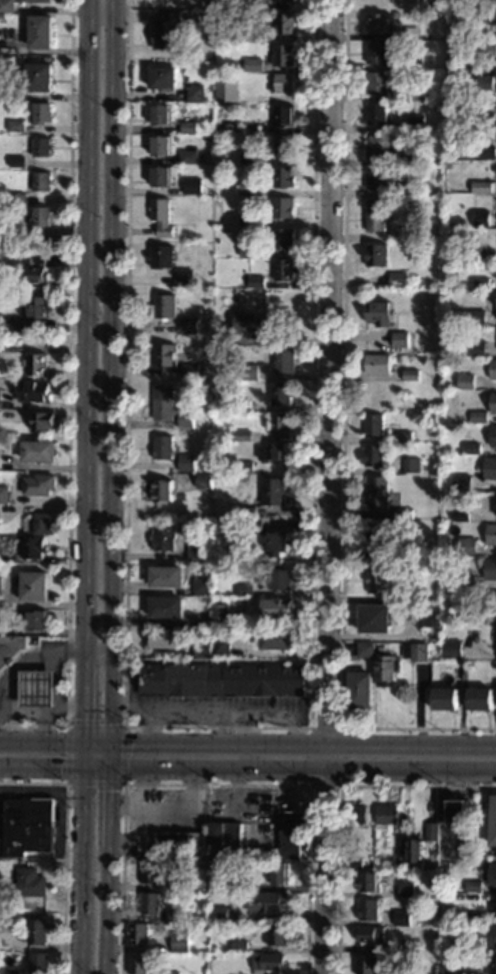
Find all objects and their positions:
building: (285, 0)
building: (35, 1)
building: (251, 5)
building: (6, 6)
building: (394, 13)
building: (481, 13)
building: (284, 23)
building: (379, 24)
building: (167, 31)
building: (40, 32)
building: (256, 36)
building: (243, 37)
building: (488, 50)
building: (378, 52)
building: (282, 55)
building: (221, 56)
building: (414, 64)
building: (253, 65)
building: (495, 69)
building: (38, 78)
building: (163, 78)
building: (376, 83)
building: (485, 83)
building: (282, 84)
building: (1, 89)
building: (226, 91)
building: (420, 92)
building: (194, 93)
building: (41, 113)
building: (375, 113)
building: (160, 115)
building: (283, 115)
building: (485, 118)
building: (416, 123)
building: (15, 126)
building: (187, 127)
building: (160, 145)
building: (376, 145)
building: (283, 146)
building: (41, 147)
building: (488, 153)
building: (416, 156)
building: (187, 157)
building: (247, 157)
building: (16, 162)
building: (159, 176)
building: (283, 176)
building: (375, 178)
building: (41, 182)
building: (192, 187)
building: (483, 187)
building: (246, 188)
building: (405, 190)
building: (17, 198)
building: (283, 208)
building: (375, 215)
building: (40, 217)
building: (160, 217)
building: (480, 219)
building: (247, 220)
building: (466, 222)
building: (16, 232)
building: (3, 233)
building: (399, 235)
building: (282, 238)
building: (472, 249)
building: (247, 251)
building: (376, 254)
building: (160, 256)
building: (7, 257)
building: (492, 268)
building: (35, 269)
building: (281, 269)
building: (183, 277)
building: (397, 279)
building: (252, 282)
building: (481, 283)
building: (38, 307)
building: (162, 307)
building: (378, 313)
building: (476, 318)
building: (246, 324)
building: (188, 325)
road: (82, 329)
building: (221, 336)
building: (399, 339)
building: (476, 348)
building: (164, 355)
building: (284, 360)
building: (378, 364)
building: (37, 365)
building: (493, 369)
building: (191, 372)
building: (250, 373)
building: (410, 375)
road: (108, 382)
building: (465, 382)
building: (33, 392)
building: (280, 394)
building: (0, 395)
road: (68, 396)
building: (163, 402)
building: (493, 402)
building: (240, 405)
building: (478, 417)
building: (185, 419)
building: (41, 421)
building: (279, 424)
building: (373, 424)
building: (241, 436)
building: (403, 437)
building: (493, 437)
road: (343, 441)
building: (400, 445)
building: (161, 447)
building: (471, 448)
building: (38, 451)
building: (271, 451)
building: (372, 455)
building: (185, 463)
building: (231, 464)
building: (411, 465)
building: (244, 466)
building: (489, 468)
building: (215, 477)
building: (203, 481)
building: (461, 482)
building: (38, 485)
road: (329, 487)
building: (161, 490)
building: (272, 492)
building: (376, 492)
building: (3, 494)
building: (494, 504)
building: (247, 512)
building: (404, 514)
building: (460, 516)
building: (42, 524)
building: (252, 527)
building: (491, 534)
building: (161, 537)
building: (379, 539)
building: (277, 543)
building: (466, 546)
building: (33, 547)
building: (195, 552)
building: (490, 569)
building: (414, 575)
building: (165, 577)
building: (281, 579)
building: (378, 580)
building: (466, 582)
building: (33, 586)
building: (201, 587)
building: (243, 590)
building: (0, 592)
building: (492, 602)
building: (165, 607)
building: (277, 608)
building: (219, 615)
building: (431, 615)
building: (469, 617)
building: (374, 619)
building: (37, 620)
building: (202, 630)
building: (493, 635)
building: (170, 638)
building: (276, 639)
building: (220, 647)
road: (95, 648)
building: (380, 648)
building: (202, 649)
building: (365, 649)
building: (451, 649)
building: (11, 650)
building: (419, 652)
road: (32, 659)
building: (387, 671)
building: (220, 680)
building: (494, 681)
building: (35, 688)
building: (360, 689)
road: (56, 699)
building: (444, 699)
building: (479, 699)
road: (42, 711)
road: (214, 711)
road: (84, 712)
traffic signals: (84, 719)
road: (146, 727)
road: (217, 727)
traffic signals: (130, 745)
road: (247, 745)
road: (41, 764)
traffic signals: (59, 765)
road: (95, 765)
road: (300, 766)
road: (121, 784)
road: (215, 785)
road: (340, 785)
traffic signals: (107, 790)
road: (339, 802)
road: (107, 803)
building: (457, 813)
building: (356, 814)
building: (387, 814)
building: (493, 822)
building: (27, 827)
building: (431, 832)
building: (292, 835)
building: (225, 841)
building: (177, 843)
road: (64, 846)
building: (415, 853)
building: (401, 857)
building: (494, 857)
building: (353, 863)
road: (81, 869)
building: (280, 872)
building: (151, 873)
building: (492, 874)
building: (30, 882)
building: (369, 882)
building: (174, 884)
building: (473, 886)
building: (405, 889)
building: (268, 902)
building: (150, 903)
building: (494, 905)
road: (106, 908)
building: (368, 910)
building: (175, 915)
building: (219, 916)
building: (402, 918)
building: (472, 918)
building: (458, 927)
building: (39, 931)
building: (138, 934)
building: (278, 934)
building: (371, 935)
building: (492, 936)
building: (6, 940)
building: (180, 943)
building: (473, 946)
building: (239, 947)
building: (391, 949)
building: (219, 955)
building: (268, 962)
building: (39, 963)
building: (139, 964)
building: (366, 964)
building: (492, 965)
building: (447, 970)
building: (13, 972)
building: (389, 972)
building: (171, 973)

